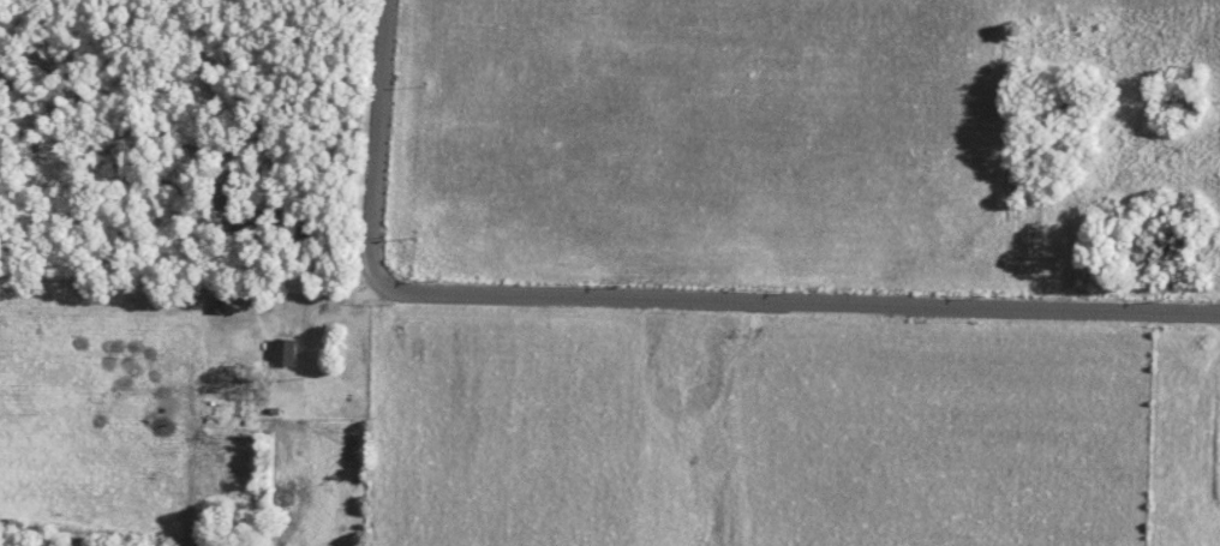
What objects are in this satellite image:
road: (657, 298)
building: (286, 352)

